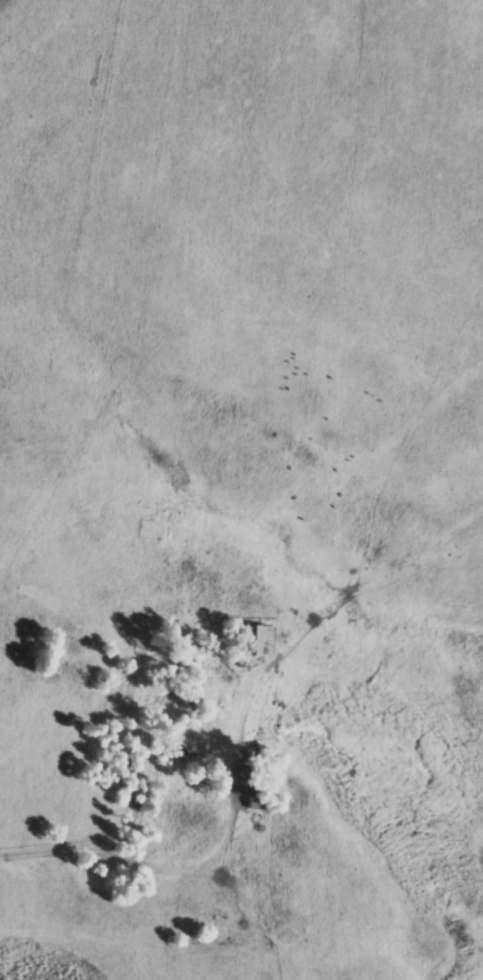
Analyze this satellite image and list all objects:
building: (250, 638)
building: (256, 801)

